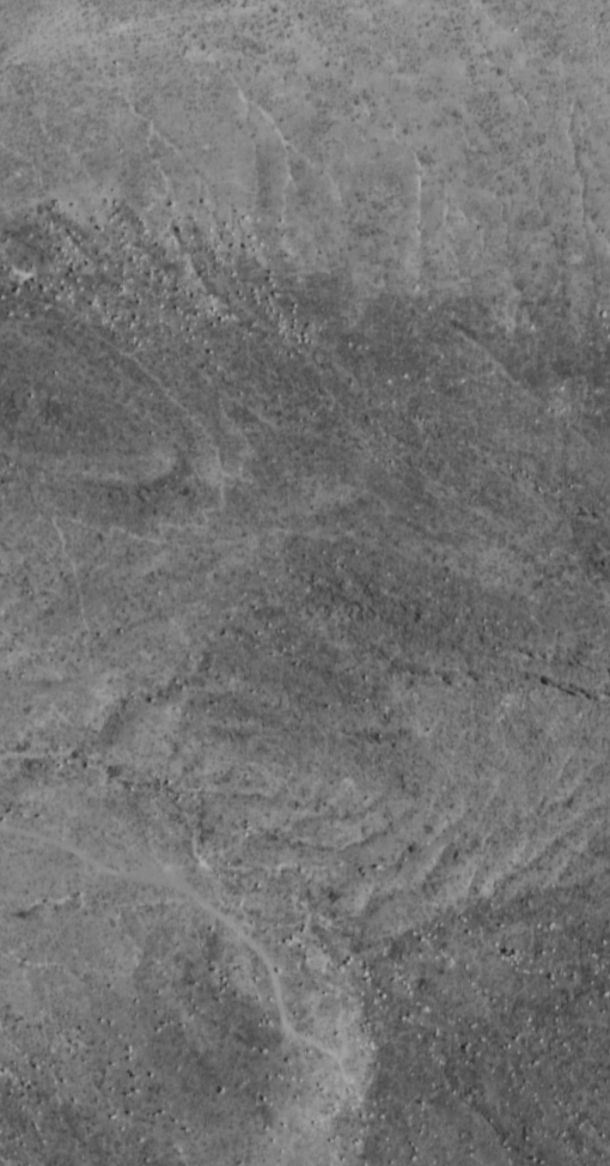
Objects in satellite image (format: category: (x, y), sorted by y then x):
road: (169, 879)

